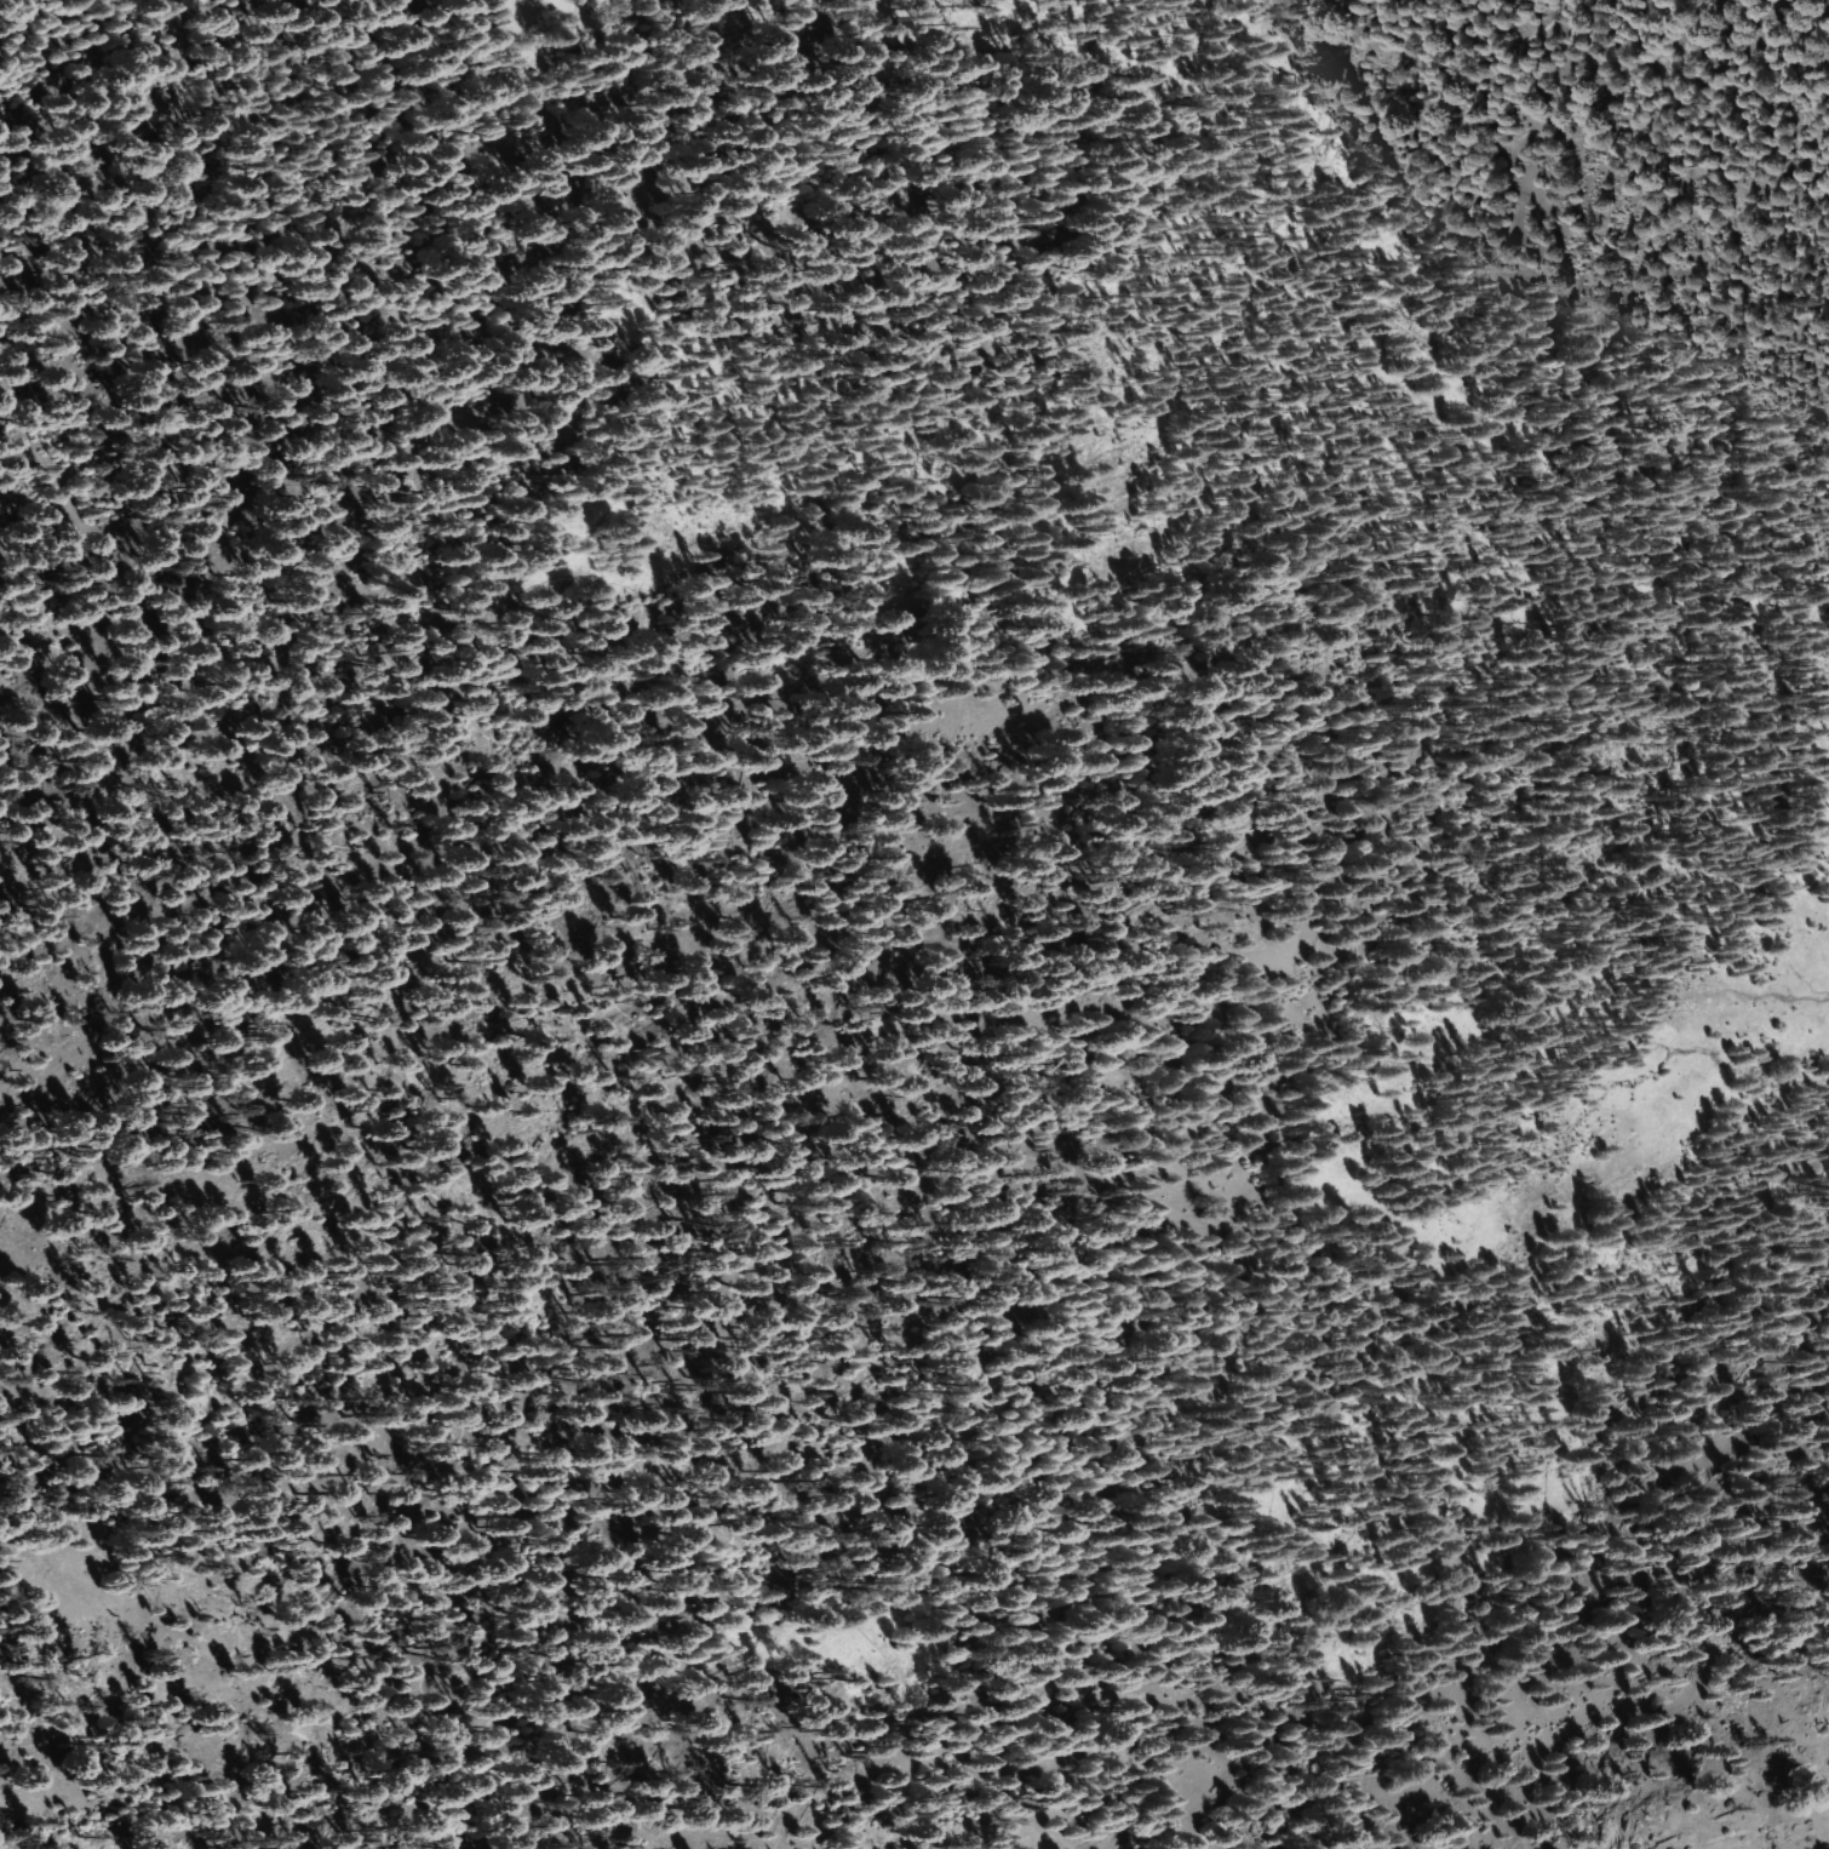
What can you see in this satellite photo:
road: (1226, 778)
road: (719, 998)

